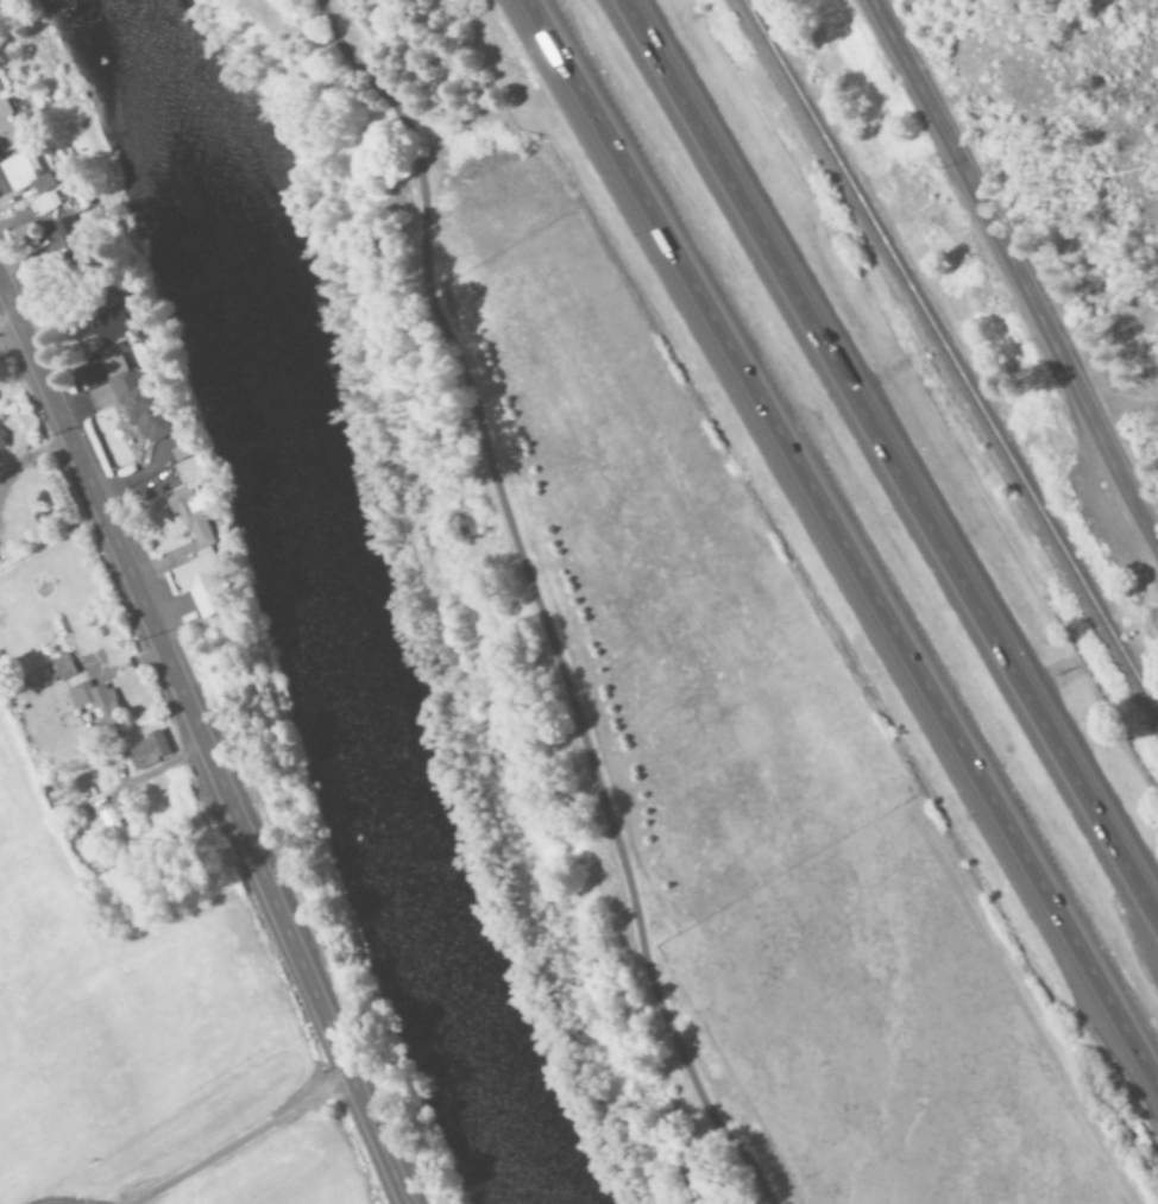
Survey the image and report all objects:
building: (7, 126)
building: (25, 175)
building: (45, 204)
road: (1014, 278)
building: (108, 326)
railway: (955, 360)
building: (1, 448)
road: (890, 460)
building: (203, 542)
road: (842, 543)
road: (537, 600)
river: (304, 611)
road: (156, 633)
building: (80, 688)
building: (145, 752)
building: (113, 828)
road: (360, 1092)
road: (240, 1136)

